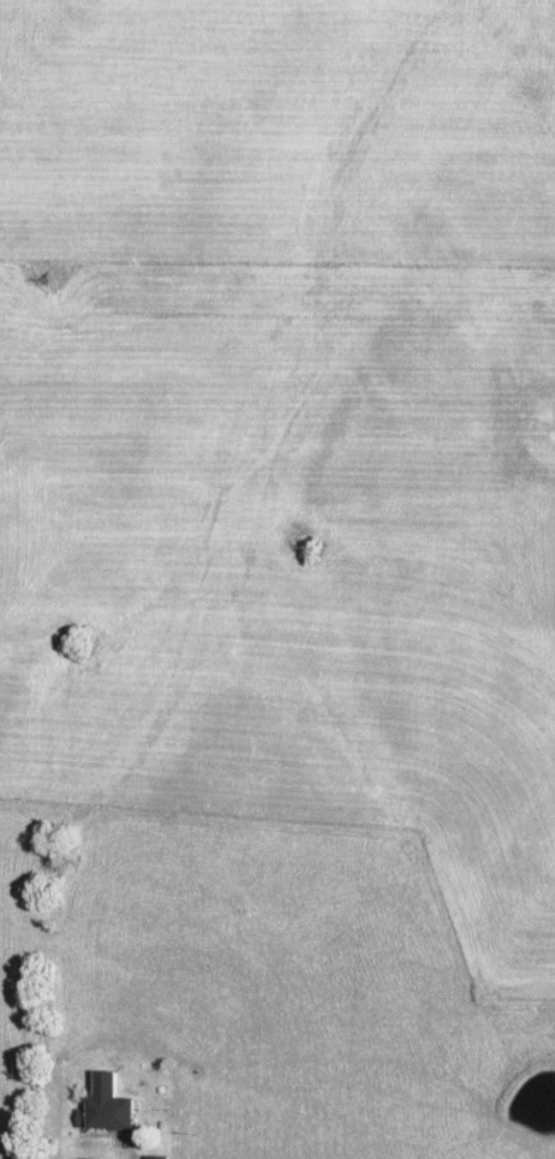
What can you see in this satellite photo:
building: (101, 1105)
road: (121, 1148)
building: (151, 1157)

